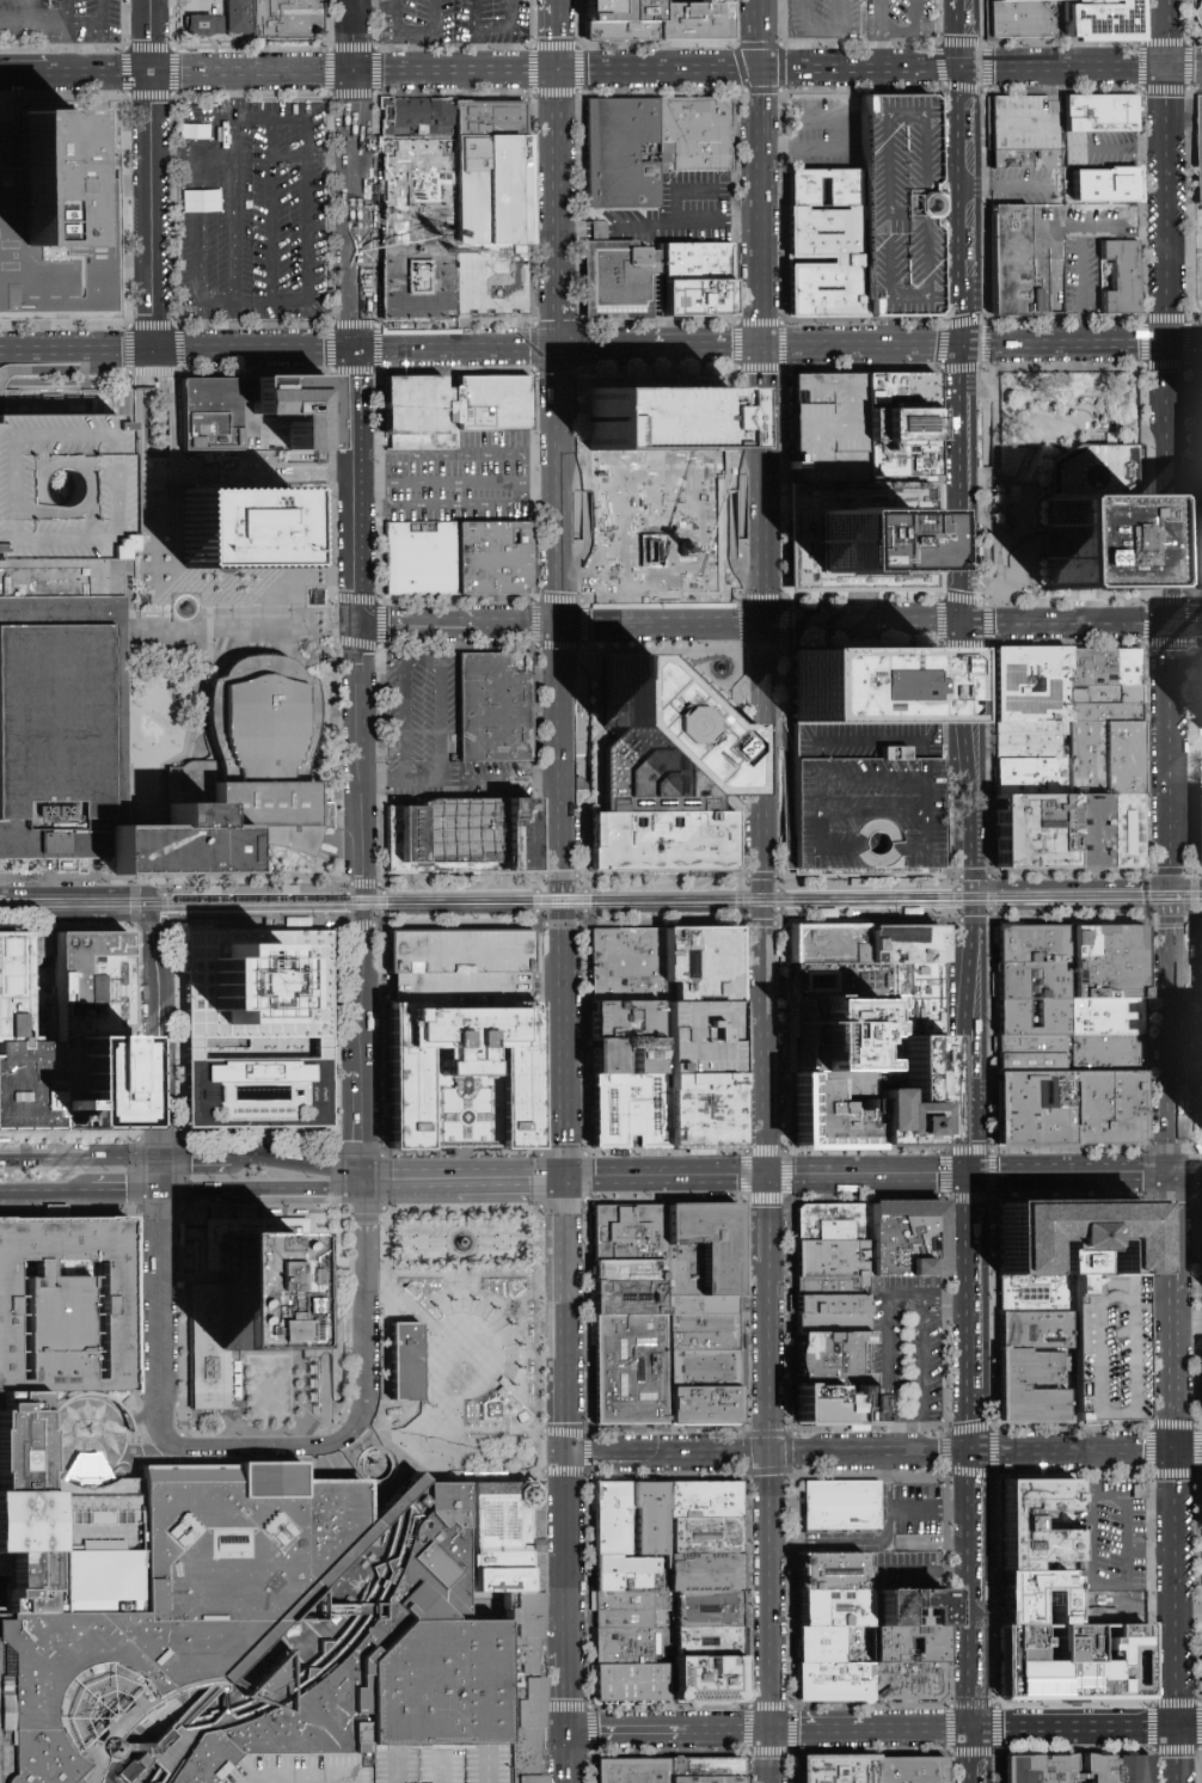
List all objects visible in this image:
road: (553, 1)
road: (394, 4)
building: (624, 11)
road: (878, 16)
building: (1198, 17)
parking lot: (671, 18)
building: (222, 19)
parking lot: (827, 19)
building: (1028, 19)
building: (1100, 19)
parking lot: (458, 20)
parking lot: (900, 20)
parking lot: (60, 22)
road: (667, 22)
road: (25, 23)
road: (48, 23)
road: (84, 23)
building: (697, 23)
building: (290, 25)
road: (492, 26)
road: (912, 31)
road: (826, 32)
road: (397, 33)
building: (625, 33)
road: (761, 33)
road: (149, 35)
road: (554, 35)
road: (67, 47)
road: (474, 47)
road: (879, 49)
road: (668, 55)
traffic signals: (556, 66)
road: (352, 67)
road: (878, 67)
traffic signals: (352, 68)
traffic signals: (964, 68)
traffic signals: (1167, 68)
road: (98, 69)
traffic signals: (149, 69)
road: (24, 71)
road: (233, 94)
road: (761, 103)
building: (1102, 115)
building: (419, 117)
building: (495, 120)
power substation: (495, 120)
parking lot: (1025, 121)
road: (1053, 125)
parking lot: (828, 133)
building: (697, 135)
building: (1195, 147)
road: (838, 148)
parking lot: (1102, 151)
road: (1121, 151)
road: (556, 154)
building: (625, 154)
road: (251, 158)
road: (329, 158)
building: (1028, 163)
parking lot: (415, 172)
road: (436, 172)
road: (352, 173)
road: (1010, 188)
building: (1104, 188)
building: (829, 189)
road: (572, 190)
parking lot: (1028, 191)
building: (493, 192)
building: (901, 206)
parking lot: (901, 206)
road: (151, 209)
road: (233, 209)
road: (269, 209)
parking lot: (254, 214)
parking lot: (674, 217)
road: (748, 219)
parking lot: (1100, 222)
parking lot: (416, 223)
building: (57, 226)
road: (646, 228)
road: (400, 229)
parking lot: (1197, 229)
road: (762, 241)
road: (1055, 252)
road: (557, 256)
road: (1042, 258)
road: (196, 262)
building: (698, 263)
building: (829, 263)
building: (1028, 264)
building: (1120, 276)
parking lot: (1083, 278)
building: (495, 281)
building: (623, 282)
building: (422, 283)
road: (1083, 295)
building: (698, 300)
road: (557, 307)
road: (1185, 341)
traffic signals: (1170, 342)
road: (1068, 343)
road: (834, 344)
road: (936, 344)
traffic signals: (967, 344)
road: (709, 345)
traffic signals: (763, 345)
road: (504, 347)
traffic signals: (558, 347)
road: (254, 348)
traffic signals: (356, 348)
road: (75, 349)
traffic signals: (153, 349)
road: (154, 362)
road: (162, 362)
road: (146, 363)
road: (93, 364)
road: (16, 369)
road: (375, 369)
road: (178, 372)
road: (330, 372)
road: (65, 380)
road: (763, 380)
building: (1201, 392)
building: (495, 405)
building: (216, 413)
building: (292, 413)
building: (421, 413)
road: (155, 415)
road: (986, 415)
building: (662, 419)
road: (172, 423)
road: (139, 424)
building: (902, 428)
building: (829, 429)
road: (341, 457)
building: (1201, 466)
road: (154, 470)
road: (272, 471)
building: (1094, 471)
road: (545, 474)
road: (239, 480)
parking lot: (462, 482)
road: (558, 483)
road: (357, 484)
road: (459, 485)
road: (370, 488)
road: (1170, 490)
building: (61, 507)
parking lot: (68, 507)
road: (765, 516)
building: (241, 529)
parking lot: (234, 531)
building: (663, 535)
building: (867, 543)
building: (1090, 543)
road: (332, 552)
building: (1201, 554)
building: (497, 558)
building: (423, 559)
road: (1148, 566)
road: (967, 588)
road: (762, 598)
fountain: (185, 607)
road: (128, 613)
traffic signals: (766, 619)
road: (879, 619)
traffic signals: (968, 619)
traffic signals: (1170, 619)
road: (459, 620)
traffic signals: (559, 620)
traffic signals: (358, 621)
road: (742, 621)
road: (786, 621)
road: (760, 647)
road: (766, 655)
building: (723, 663)
building: (1104, 666)
fountain: (720, 667)
road: (439, 670)
building: (1032, 684)
road: (700, 685)
building: (866, 687)
building: (1104, 696)
building: (501, 707)
building: (1104, 712)
road: (737, 723)
road: (130, 724)
building: (61, 727)
parking lot: (427, 727)
helipad: (654, 730)
building: (1031, 739)
building: (658, 742)
building: (260, 756)
building: (1104, 759)
building: (1034, 777)
road: (852, 779)
parking lot: (501, 780)
road: (502, 780)
road: (548, 780)
road: (375, 783)
road: (787, 788)
building: (866, 797)
parking garage: (866, 797)
road: (946, 799)
road: (766, 803)
road: (865, 814)
building: (326, 816)
building: (1198, 829)
parking lot: (1198, 829)
building: (1126, 831)
building: (1088, 832)
building: (1034, 833)
building: (466, 838)
building: (664, 841)
building: (173, 845)
road: (147, 850)
fountain: (294, 859)
road: (154, 877)
road: (176, 880)
road: (366, 882)
railway: (342, 883)
road: (674, 886)
road: (1188, 886)
road: (162, 887)
traffic signals: (1175, 887)
road: (254, 888)
building: (287, 888)
road: (1072, 888)
traffic signals: (969, 889)
road: (74, 890)
railway: (869, 890)
railway: (680, 896)
railway: (79, 900)
road: (158, 900)
road: (363, 900)
road: (560, 900)
road: (348, 902)
railway: (600, 906)
railway: (869, 907)
road: (254, 914)
traffic signals: (158, 915)
road: (787, 915)
road: (79, 917)
railway: (171, 919)
building: (295, 920)
road: (184, 921)
road: (238, 921)
road: (363, 923)
road: (140, 926)
road: (166, 929)
road: (173, 931)
road: (157, 935)
building: (908, 945)
building: (1036, 945)
building: (830, 946)
building: (1109, 963)
building: (465, 967)
parking lot: (465, 967)
building: (631, 968)
building: (703, 968)
building: (1036, 982)
building: (91, 984)
parking garage: (91, 984)
building: (829, 984)
building: (12, 987)
road: (548, 987)
road: (380, 988)
building: (254, 993)
building: (910, 993)
building: (1109, 1017)
building: (1037, 1018)
building: (626, 1022)
building: (830, 1035)
building: (703, 1042)
building: (1032, 1046)
road: (768, 1047)
road: (170, 1053)
road: (195, 1053)
road: (215, 1053)
building: (1109, 1054)
road: (158, 1055)
road: (330, 1059)
building: (626, 1059)
road: (256, 1060)
road: (180, 1061)
building: (1032, 1065)
building: (468, 1078)
road: (1172, 1078)
building: (94, 1082)
building: (908, 1082)
building: (30, 1085)
building: (256, 1098)
building: (832, 1108)
building: (1110, 1109)
building: (1037, 1110)
building: (630, 1114)
building: (701, 1114)
road: (178, 1125)
traffic signals: (159, 1128)
traffic signals: (362, 1144)
road: (195, 1156)
road: (79, 1157)
traffic signals: (189, 1157)
road: (298, 1162)
road: (159, 1175)
road: (1186, 1175)
road: (1072, 1176)
traffic signals: (1172, 1176)
road: (870, 1177)
traffic signals: (971, 1177)
road: (666, 1178)
traffic signals: (769, 1178)
road: (526, 1180)
traffic signals: (563, 1180)
road: (425, 1181)
road: (260, 1193)
road: (45, 1194)
road: (125, 1194)
traffic signals: (125, 1194)
road: (467, 1205)
road: (769, 1221)
building: (838, 1223)
road: (474, 1232)
building: (632, 1233)
building: (1069, 1233)
road: (522, 1240)
building: (909, 1240)
road: (407, 1242)
fountain: (465, 1243)
building: (704, 1251)
parking lot: (105, 1262)
road: (145, 1262)
building: (833, 1262)
building: (1069, 1262)
road: (467, 1268)
building: (632, 1272)
road: (464, 1281)
building: (515, 1288)
building: (835, 1288)
building: (415, 1289)
building: (1035, 1293)
building: (243, 1297)
building: (632, 1300)
building: (67, 1306)
building: (705, 1307)
building: (835, 1307)
road: (958, 1307)
road: (924, 1309)
road: (565, 1318)
road: (1188, 1324)
park: (471, 1328)
building: (835, 1329)
building: (1034, 1330)
building: (705, 1334)
road: (889, 1344)
building: (1108, 1348)
parking lot: (1108, 1348)
parking lot: (907, 1352)
road: (771, 1360)
building: (836, 1364)
building: (401, 1366)
fountain: (471, 1366)
building: (1026, 1367)
building: (705, 1368)
building: (633, 1372)
road: (924, 1375)
building: (836, 1404)
building: (1030, 1404)
building: (705, 1405)
building: (492, 1408)
helipad: (11, 1417)
road: (19, 1427)
road: (50, 1427)
road: (265, 1439)
road: (66, 1448)
traffic signals: (1175, 1450)
road: (395, 1451)
road: (141, 1452)
road: (986, 1452)
traffic signals: (973, 1453)
road: (669, 1457)
traffic signals: (772, 1457)
road: (19, 1458)
road: (60, 1458)
traffic signals: (566, 1458)
road: (452, 1470)
road: (521, 1470)
road: (1175, 1478)
road: (973, 1479)
building: (705, 1501)
building: (842, 1507)
road: (938, 1508)
building: (1022, 1512)
building: (632, 1520)
building: (57, 1532)
parking lot: (913, 1532)
road: (1091, 1533)
building: (705, 1538)
road: (1123, 1538)
building: (505, 1539)
road: (871, 1543)
parking lot: (1112, 1548)
road: (566, 1555)
building: (833, 1568)
road: (925, 1569)
building: (628, 1575)
building: (701, 1575)
road: (773, 1592)
building: (1042, 1593)
building: (910, 1600)
building: (840, 1603)
building: (631, 1611)
building: (710, 1612)
building: (711, 1641)
building: (823, 1643)
building: (895, 1643)
building: (626, 1647)
building: (1080, 1661)
building: (711, 1671)
building: (633, 1681)
building: (838, 1683)
building: (909, 1683)
road: (568, 1691)
road: (870, 1705)
road: (669, 1707)
road: (566, 1708)
road: (1073, 1726)
traffic signals: (1176, 1726)
road: (904, 1727)
traffic signals: (974, 1727)
road: (628, 1728)
road: (715, 1728)
road: (756, 1728)
traffic signals: (774, 1728)
road: (790, 1728)
road: (820, 1728)
road: (950, 1728)
road: (554, 1729)
traffic signals: (569, 1729)
road: (589, 1733)
road: (520, 1739)
road: (870, 1752)
building: (520, 1754)
road: (569, 1756)
road: (774, 1756)
building: (431, 1761)
parking lot: (431, 1761)
building: (1036, 1766)
building: (701, 1767)
building: (1117, 1769)
building: (631, 1771)
building: (842, 1771)
building: (912, 1771)
building: (703, 1779)

